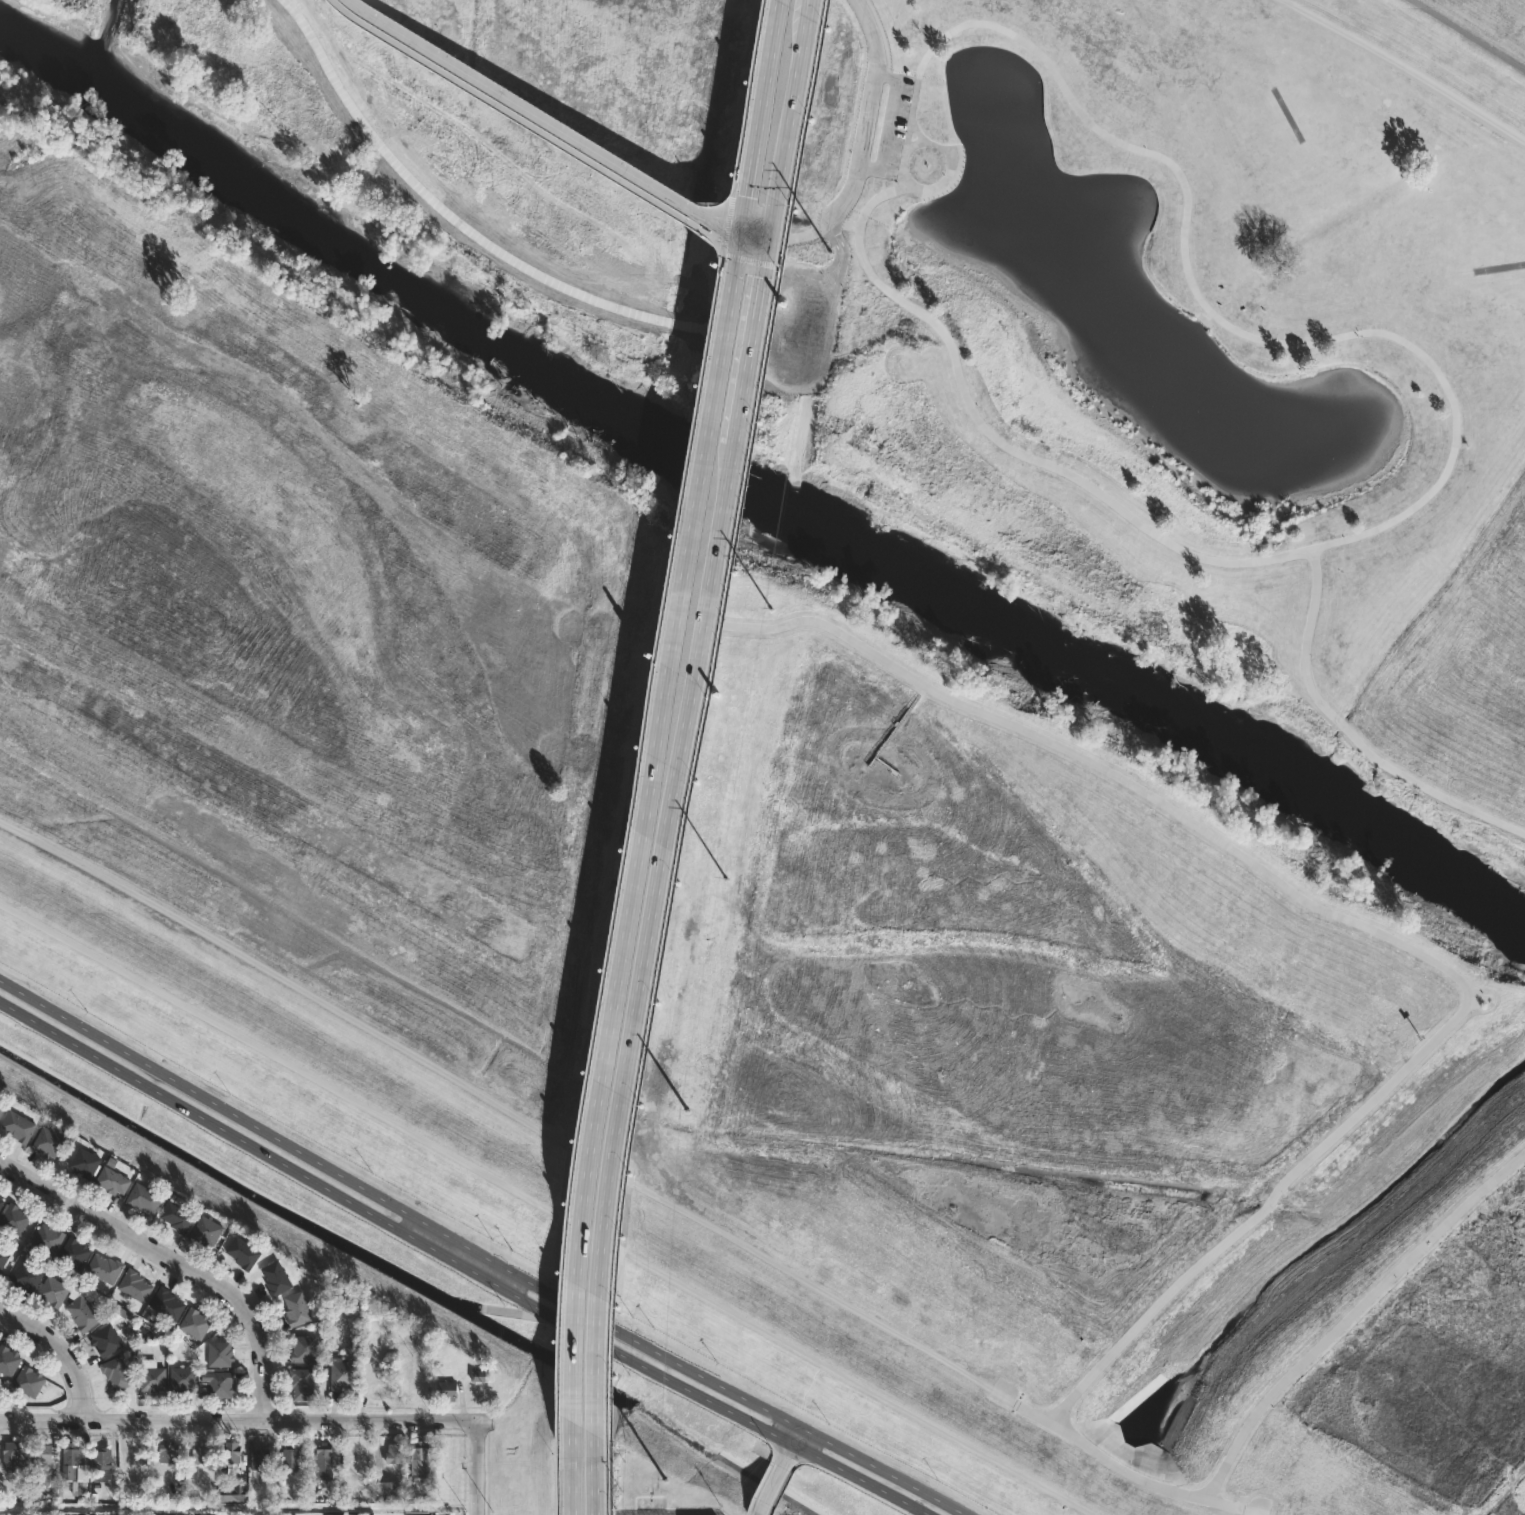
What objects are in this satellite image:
road: (872, 35)
road: (1466, 36)
road: (886, 51)
road: (1399, 76)
road: (747, 89)
road: (761, 115)
road: (788, 119)
road: (887, 122)
parking lot: (892, 126)
road: (525, 127)
road: (549, 131)
road: (865, 146)
road: (732, 185)
road: (725, 223)
traffic signals: (743, 232)
road: (817, 234)
traffic signals: (768, 238)
road: (842, 249)
power tower: (828, 251)
road: (750, 262)
road: (920, 299)
road: (919, 304)
road: (1209, 317)
road: (1204, 322)
parking lot: (800, 327)
road: (1428, 363)
river: (750, 479)
power tower: (769, 608)
park: (822, 676)
road: (1347, 736)
road: (698, 755)
road: (646, 820)
road: (669, 823)
road: (624, 843)
road: (626, 863)
power tower: (724, 879)
road: (1363, 926)
road: (495, 1104)
building: (2, 1108)
power tower: (687, 1110)
building: (19, 1126)
building: (51, 1140)
road: (288, 1147)
building: (85, 1162)
building: (114, 1181)
building: (146, 1198)
building: (1, 1202)
road: (547, 1208)
building: (178, 1216)
building: (14, 1218)
building: (212, 1230)
building: (49, 1238)
river: (1315, 1238)
building: (75, 1253)
building: (244, 1253)
road: (464, 1257)
building: (3, 1258)
road: (176, 1265)
road: (460, 1265)
building: (105, 1268)
building: (26, 1276)
building: (277, 1278)
building: (135, 1286)
building: (53, 1291)
building: (167, 1304)
building: (298, 1309)
building: (83, 1313)
road: (1350, 1313)
building: (196, 1323)
road: (26, 1325)
building: (106, 1340)
building: (304, 1349)
building: (221, 1354)
building: (9, 1361)
building: (117, 1373)
road: (82, 1374)
building: (477, 1375)
building: (343, 1376)
building: (152, 1377)
building: (184, 1379)
building: (29, 1381)
building: (304, 1382)
building: (216, 1387)
building: (448, 1391)
road: (770, 1412)
road: (237, 1421)
building: (229, 1452)
building: (168, 1453)
building: (393, 1453)
building: (11, 1454)
building: (201, 1454)
building: (325, 1458)
building: (103, 1459)
building: (291, 1459)
building: (260, 1460)
building: (420, 1462)
road: (573, 1463)
road: (595, 1463)
building: (42, 1464)
road: (1118, 1467)
road: (475, 1468)
building: (75, 1469)
road: (779, 1471)
road: (556, 1475)
power tower: (663, 1479)
building: (389, 1490)
building: (233, 1491)
road: (1213, 1507)
power substation: (670, 1513)
building: (170, 1514)

